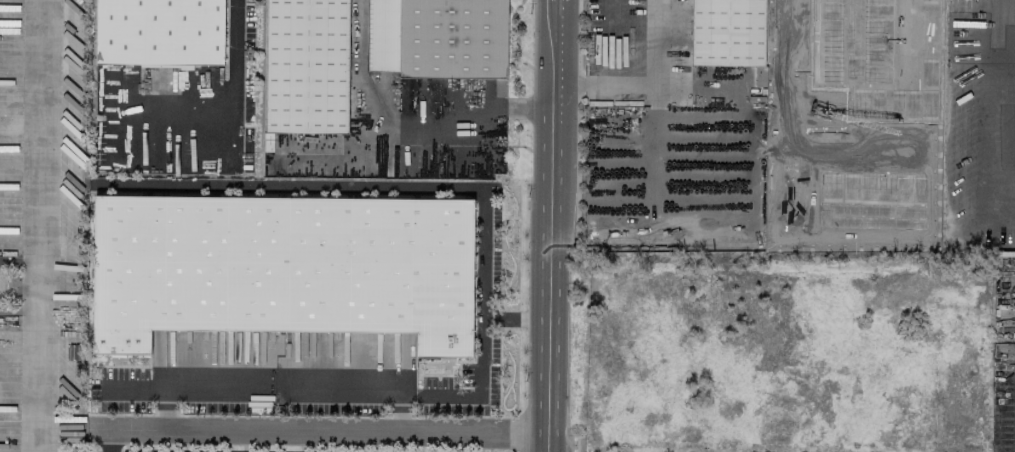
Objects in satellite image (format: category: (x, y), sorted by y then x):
road: (785, 15)
building: (157, 30)
building: (726, 32)
building: (441, 37)
road: (233, 53)
building: (875, 54)
building: (304, 64)
road: (649, 86)
road: (520, 109)
road: (367, 112)
road: (980, 119)
road: (383, 186)
road: (43, 225)
road: (551, 225)
building: (280, 267)
road: (324, 381)
road: (317, 429)

